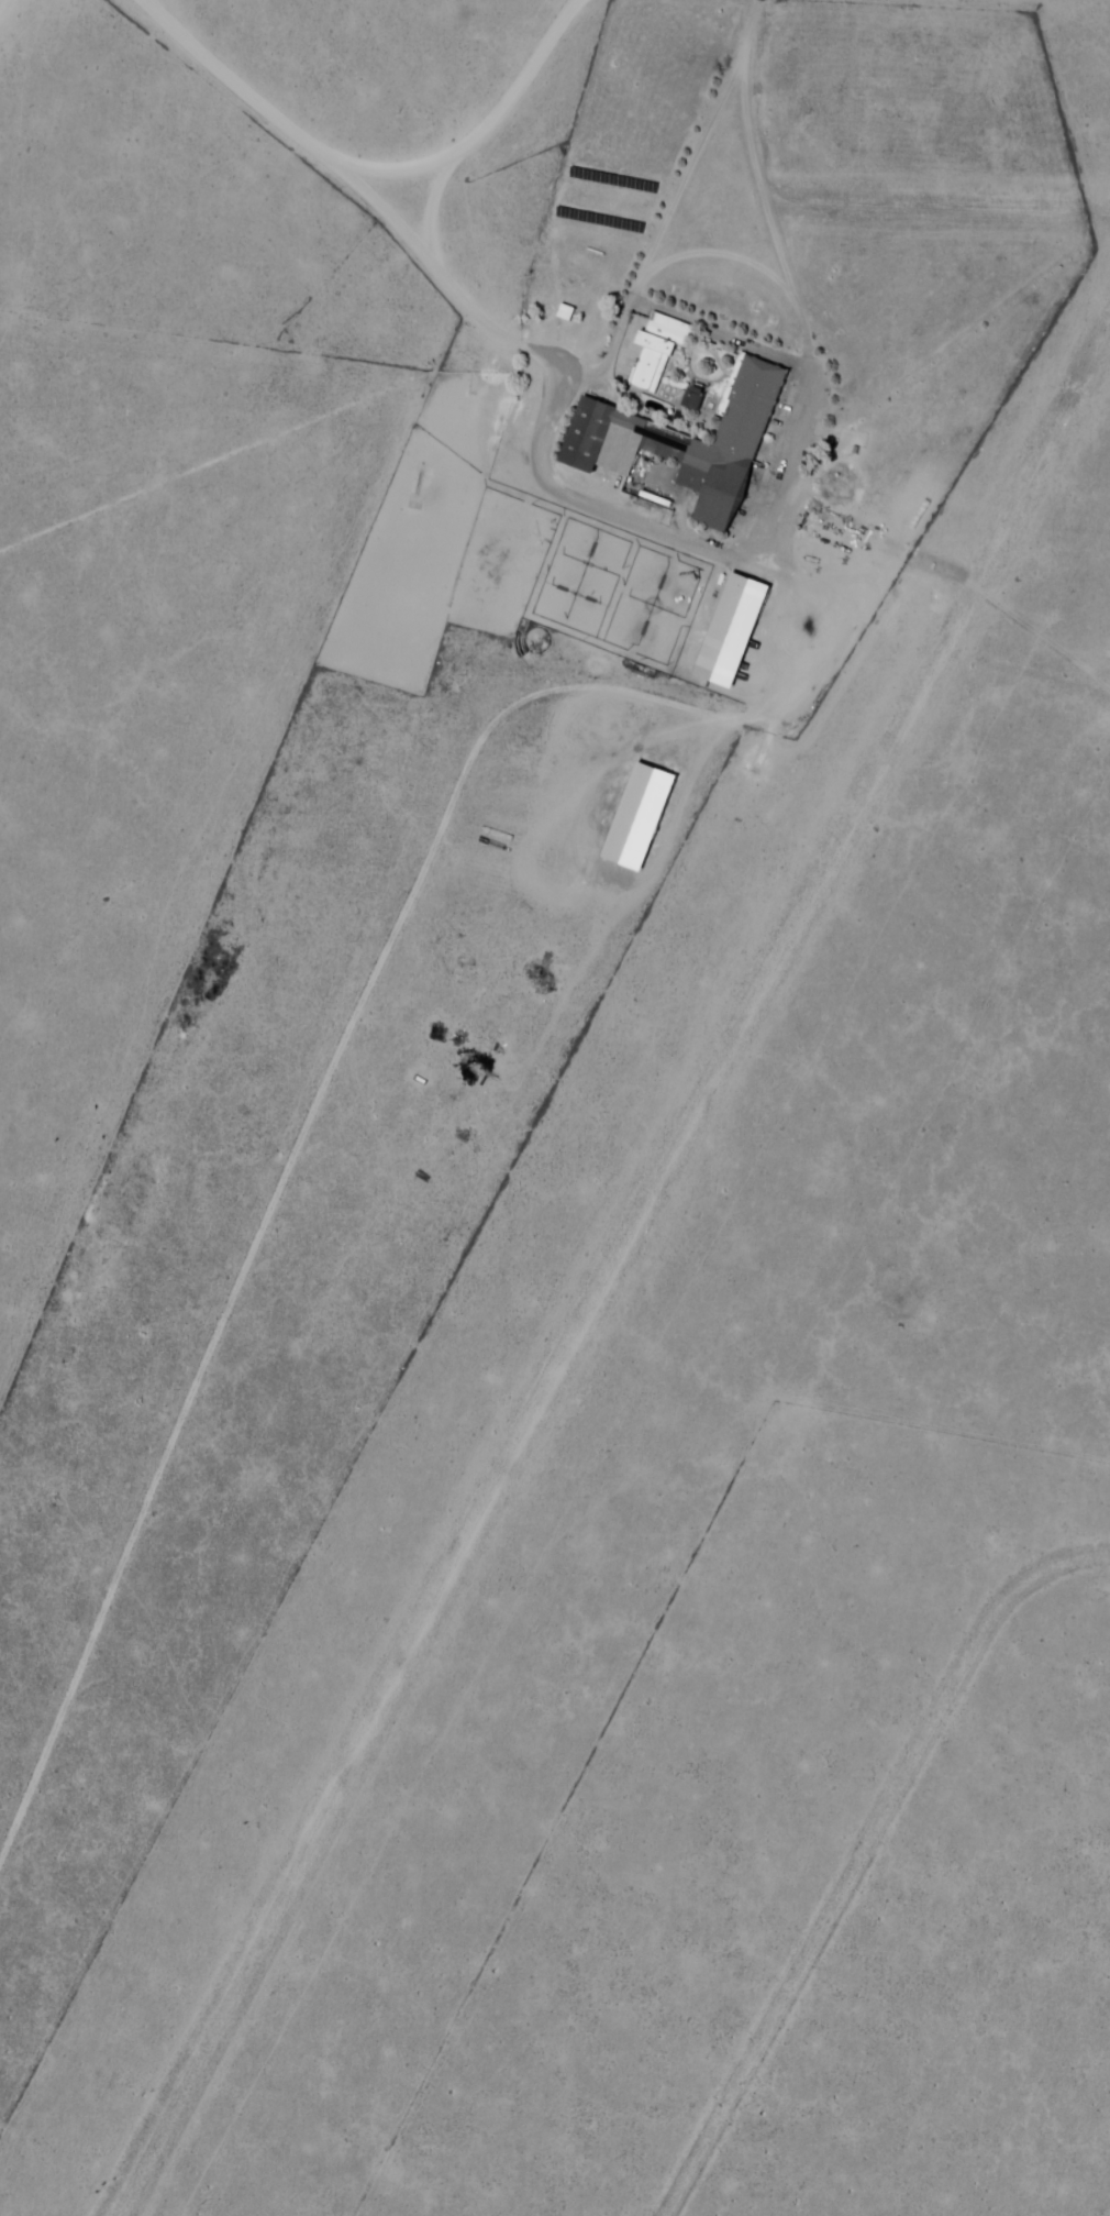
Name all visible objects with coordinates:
road: (2, 2)
road: (750, 100)
road: (378, 169)
road: (839, 205)
airport runway: (1003, 212)
road: (722, 258)
road: (813, 351)
building: (653, 361)
road: (577, 394)
building: (693, 397)
building: (689, 409)
building: (755, 415)
building: (658, 465)
airport taxiway: (884, 545)
building: (728, 627)
road: (1043, 633)
building: (546, 643)
road: (742, 717)
building: (376, 737)
building: (636, 813)
airport runway: (612, 1276)
road: (246, 1301)
road: (865, 1860)

